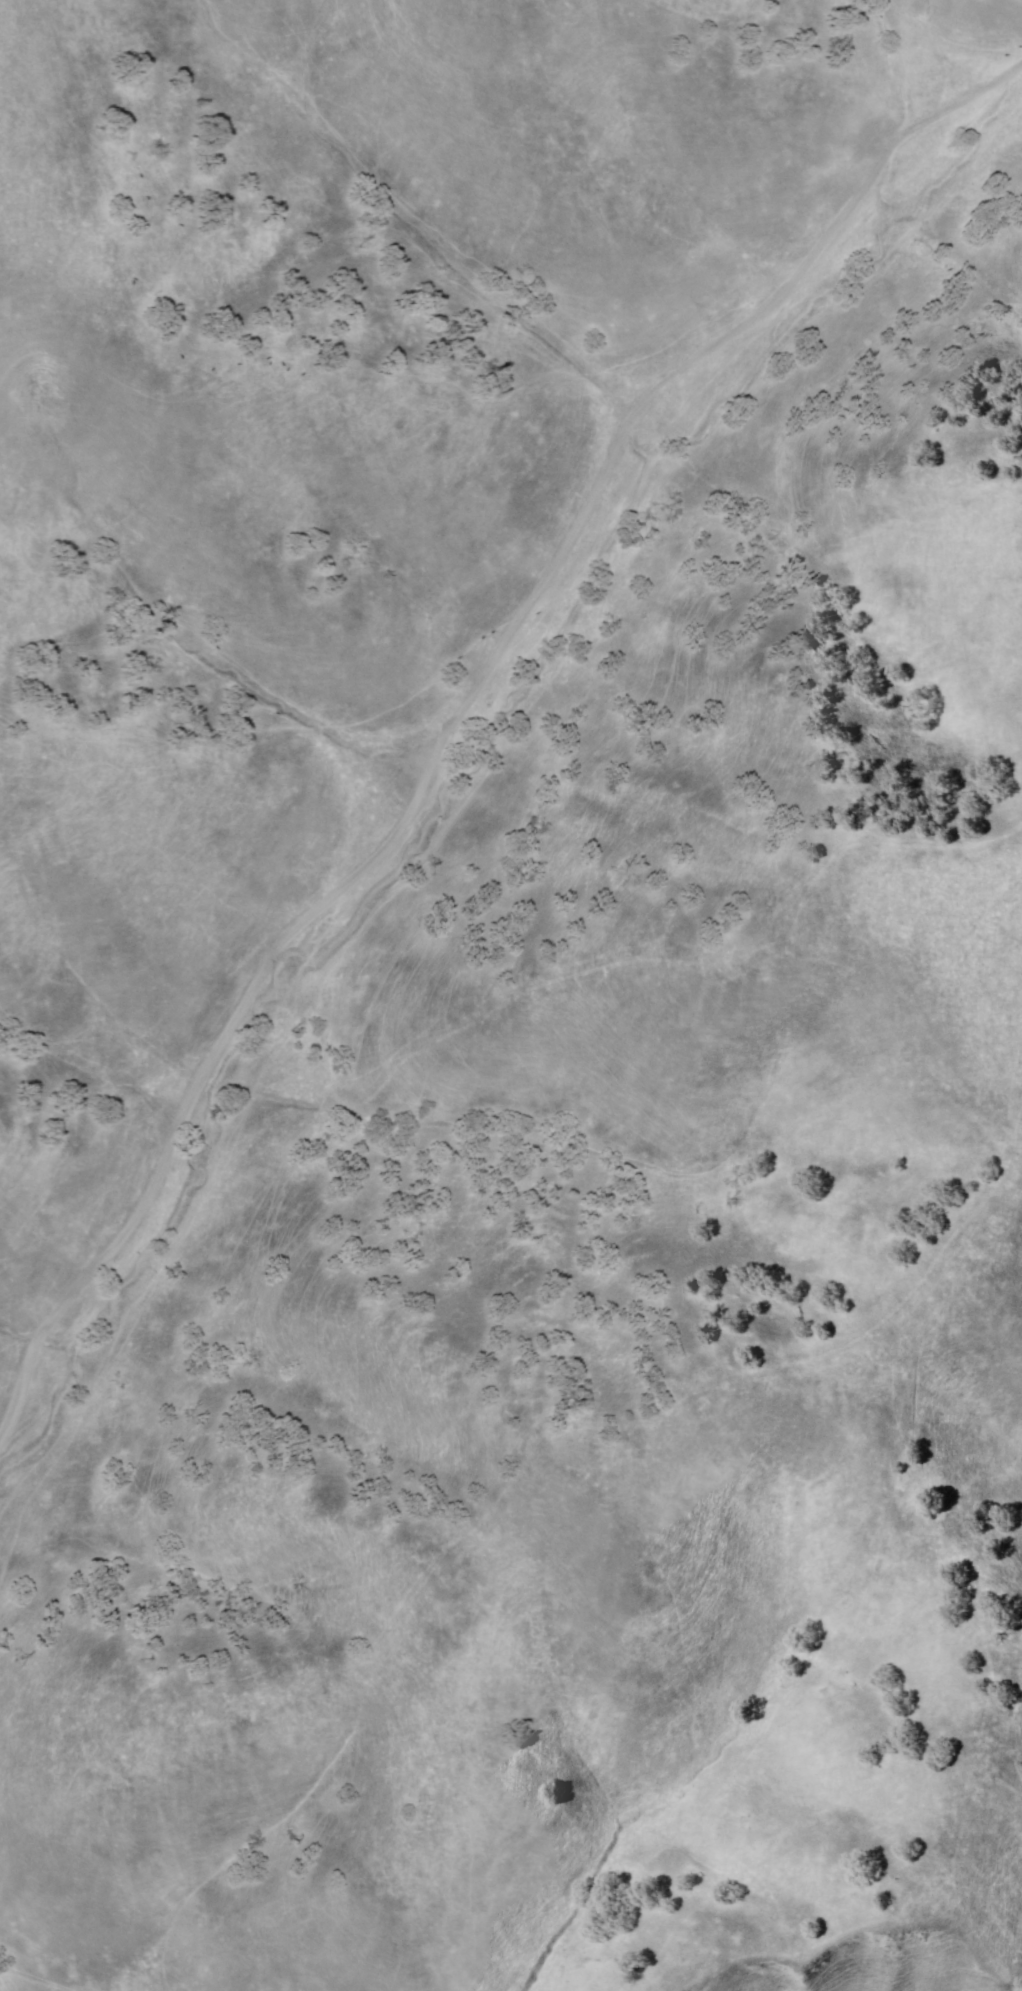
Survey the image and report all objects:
road: (978, 59)
road: (462, 712)
road: (107, 1955)

